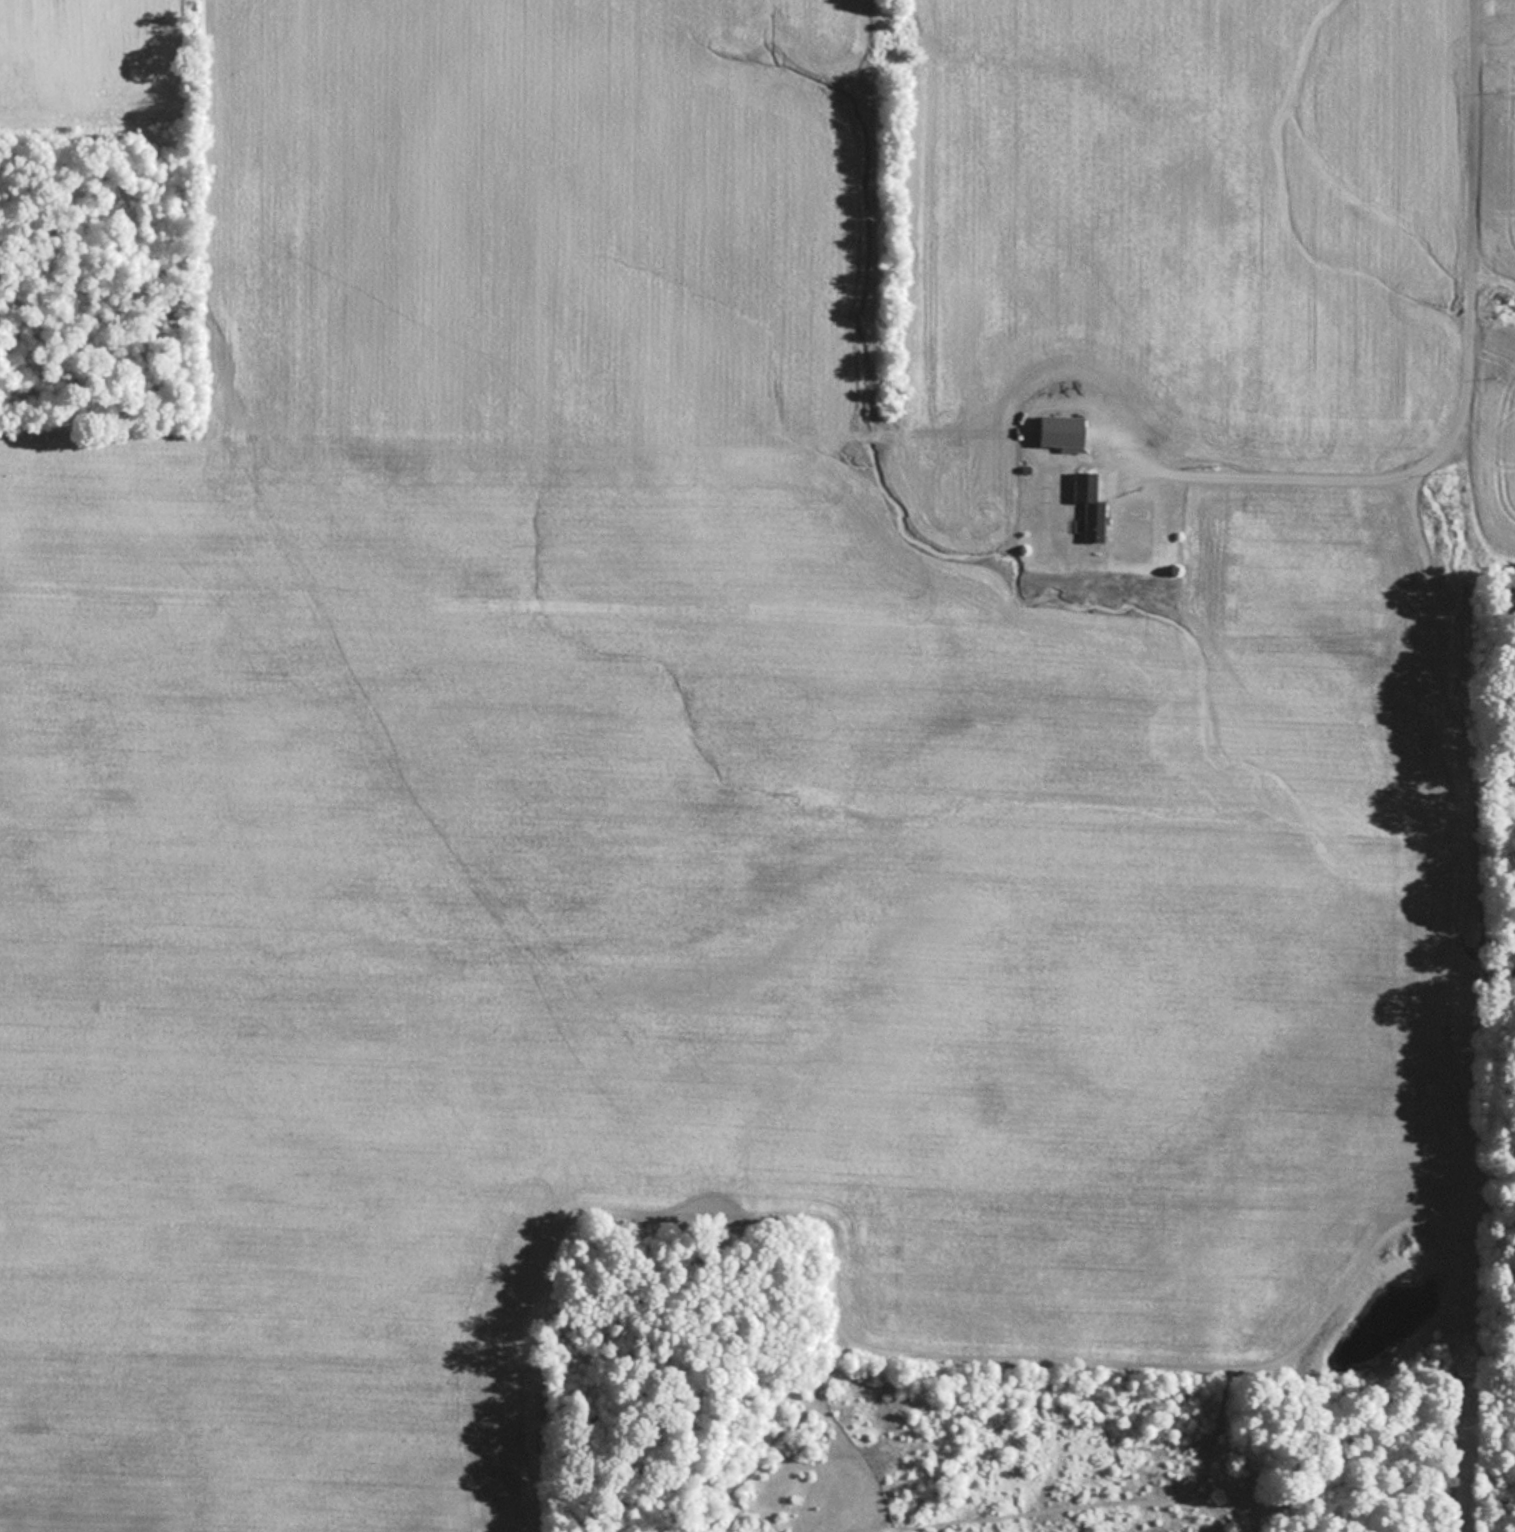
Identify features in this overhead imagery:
building: (1066, 432)
building: (1091, 505)

